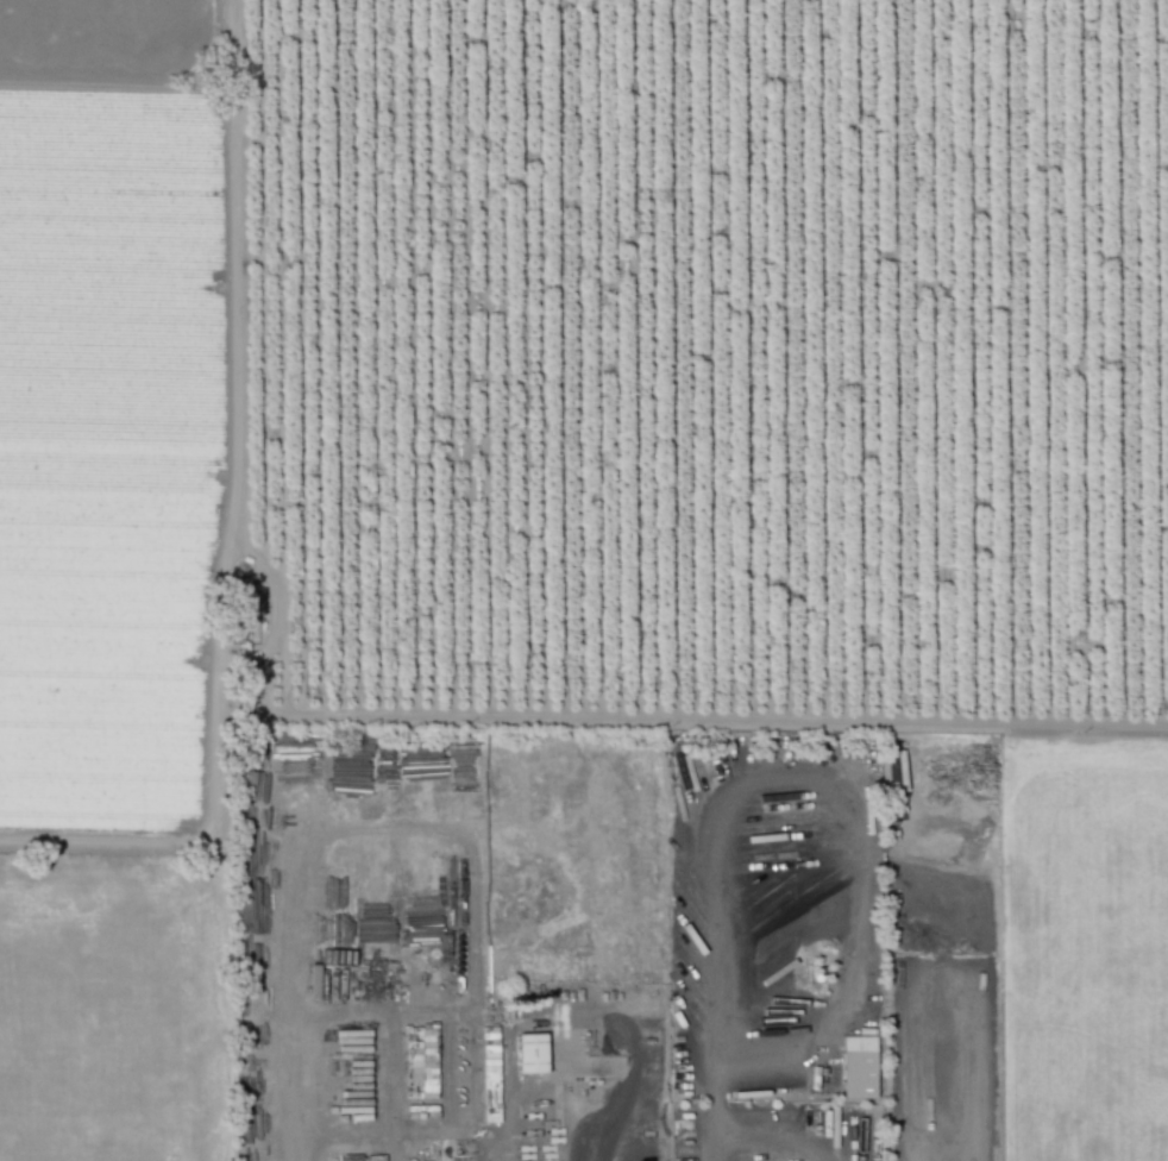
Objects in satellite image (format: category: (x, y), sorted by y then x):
road: (793, 779)
road: (284, 896)
crop: (1085, 949)
crop: (112, 1010)
road: (456, 1013)
building: (532, 1053)
building: (859, 1067)
road: (445, 1073)
building: (491, 1090)
road: (582, 1143)
road: (312, 1146)
road: (775, 1151)
road: (721, 1154)

